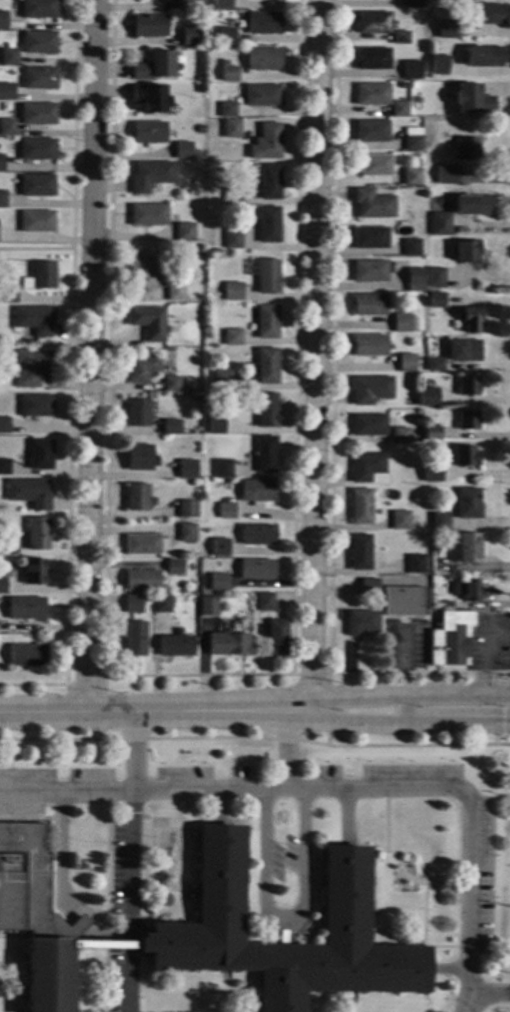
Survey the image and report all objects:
building: (189, 4)
building: (221, 4)
building: (415, 4)
building: (39, 9)
building: (483, 14)
building: (240, 16)
building: (3, 20)
building: (263, 23)
building: (373, 23)
building: (149, 25)
building: (446, 29)
building: (190, 36)
building: (226, 36)
building: (400, 38)
building: (38, 42)
building: (9, 57)
building: (484, 57)
building: (263, 59)
building: (373, 59)
building: (439, 65)
building: (154, 66)
building: (413, 70)
building: (229, 74)
building: (39, 78)
building: (199, 78)
building: (414, 85)
building: (200, 88)
building: (6, 92)
building: (372, 95)
building: (263, 96)
building: (149, 97)
building: (473, 100)
building: (400, 109)
building: (227, 110)
building: (37, 114)
building: (7, 128)
building: (232, 128)
building: (372, 131)
building: (148, 133)
building: (266, 142)
building: (413, 143)
building: (466, 149)
building: (36, 150)
building: (194, 150)
building: (182, 151)
building: (1, 164)
building: (374, 165)
building: (446, 175)
building: (150, 176)
building: (412, 176)
building: (269, 182)
building: (36, 186)
building: (232, 197)
building: (2, 200)
building: (373, 204)
building: (473, 206)
building: (148, 215)
building: (37, 222)
building: (440, 224)
building: (268, 225)
building: (185, 232)
building: (371, 238)
building: (232, 240)
building: (412, 248)
road: (35, 249)
building: (467, 251)
building: (370, 271)
building: (142, 274)
building: (40, 276)
building: (267, 277)
building: (415, 280)
building: (435, 280)
building: (174, 292)
building: (232, 293)
building: (7, 296)
building: (436, 301)
building: (370, 304)
building: (34, 320)
building: (470, 320)
building: (266, 321)
building: (148, 323)
building: (403, 323)
building: (231, 338)
building: (369, 345)
building: (463, 351)
road: (314, 354)
road: (90, 355)
building: (407, 364)
building: (435, 365)
building: (264, 366)
building: (30, 367)
building: (141, 368)
road: (69, 374)
building: (220, 380)
building: (170, 384)
building: (468, 385)
building: (370, 390)
building: (427, 397)
building: (36, 406)
building: (265, 410)
building: (137, 413)
building: (467, 420)
building: (4, 425)
building: (215, 425)
building: (368, 425)
building: (170, 427)
road: (330, 429)
building: (431, 434)
building: (400, 436)
building: (39, 454)
building: (265, 454)
building: (464, 456)
building: (138, 458)
building: (4, 467)
building: (366, 467)
building: (186, 469)
building: (222, 469)
building: (431, 472)
building: (257, 492)
building: (29, 493)
building: (136, 498)
building: (468, 503)
building: (360, 507)
building: (186, 509)
building: (225, 510)
building: (399, 520)
building: (439, 522)
building: (186, 533)
building: (37, 534)
building: (257, 535)
building: (144, 545)
building: (219, 548)
building: (467, 548)
building: (359, 552)
building: (415, 564)
building: (173, 567)
building: (255, 570)
building: (34, 572)
building: (141, 581)
building: (216, 583)
building: (3, 586)
building: (369, 587)
building: (471, 591)
building: (264, 602)
building: (403, 602)
building: (135, 603)
building: (162, 604)
building: (450, 605)
building: (208, 606)
building: (441, 607)
building: (26, 609)
building: (4, 613)
building: (361, 622)
building: (276, 638)
building: (135, 639)
building: (450, 639)
building: (228, 645)
building: (175, 646)
road: (485, 652)
building: (27, 655)
road: (195, 675)
road: (403, 677)
road: (102, 680)
road: (327, 692)
road: (102, 693)
road: (408, 695)
road: (154, 709)
road: (408, 724)
traffic signals: (501, 724)
road: (255, 738)
road: (284, 749)
road: (400, 788)
road: (65, 792)
building: (185, 804)
road: (40, 805)
road: (217, 808)
road: (344, 818)
road: (27, 819)
road: (383, 820)
road: (131, 822)
road: (163, 829)
road: (61, 857)
road: (106, 862)
road: (173, 871)
road: (159, 876)
building: (29, 885)
road: (53, 885)
road: (414, 889)
road: (422, 899)
road: (130, 918)
road: (82, 922)
road: (84, 922)
road: (280, 923)
building: (284, 933)
road: (106, 934)
road: (14, 935)
road: (104, 947)
road: (447, 969)
road: (104, 973)
road: (127, 973)
building: (48, 975)
road: (492, 993)
road: (8, 1000)
road: (468, 1003)

